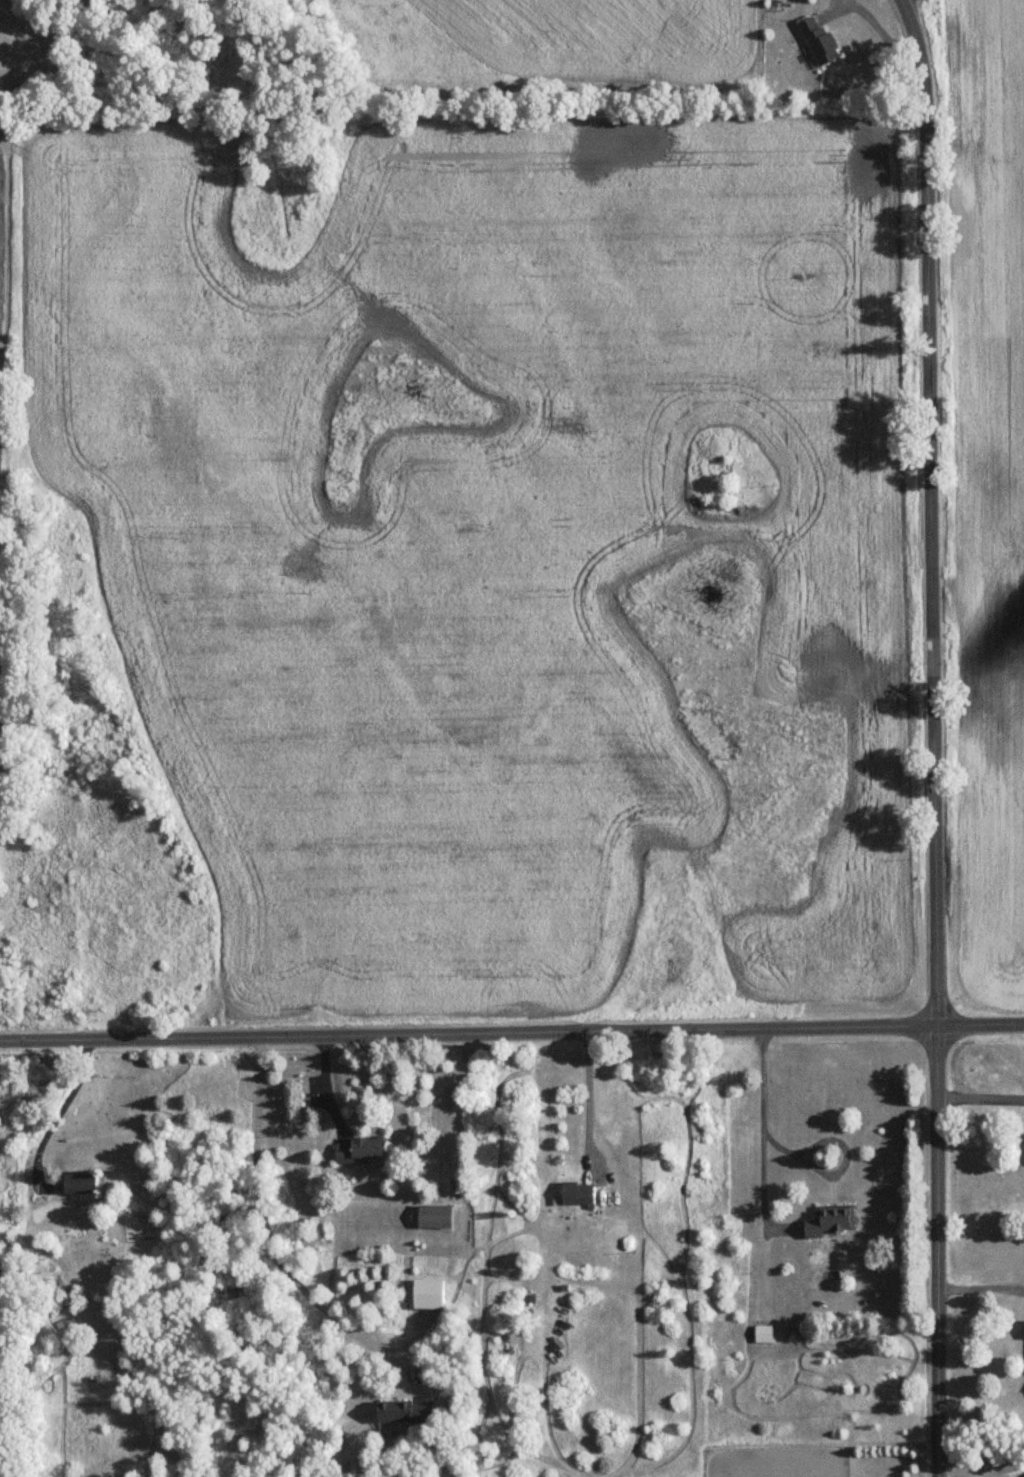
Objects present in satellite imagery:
building: (820, 41)
road: (932, 736)
road: (512, 1026)
road: (588, 1089)
road: (980, 1095)
road: (455, 1106)
road: (58, 1112)
road: (762, 1132)
building: (364, 1151)
building: (82, 1185)
building: (580, 1194)
building: (438, 1217)
building: (833, 1220)
road: (263, 1228)
road: (980, 1272)
building: (765, 1334)
building: (408, 1413)
road: (967, 1470)

